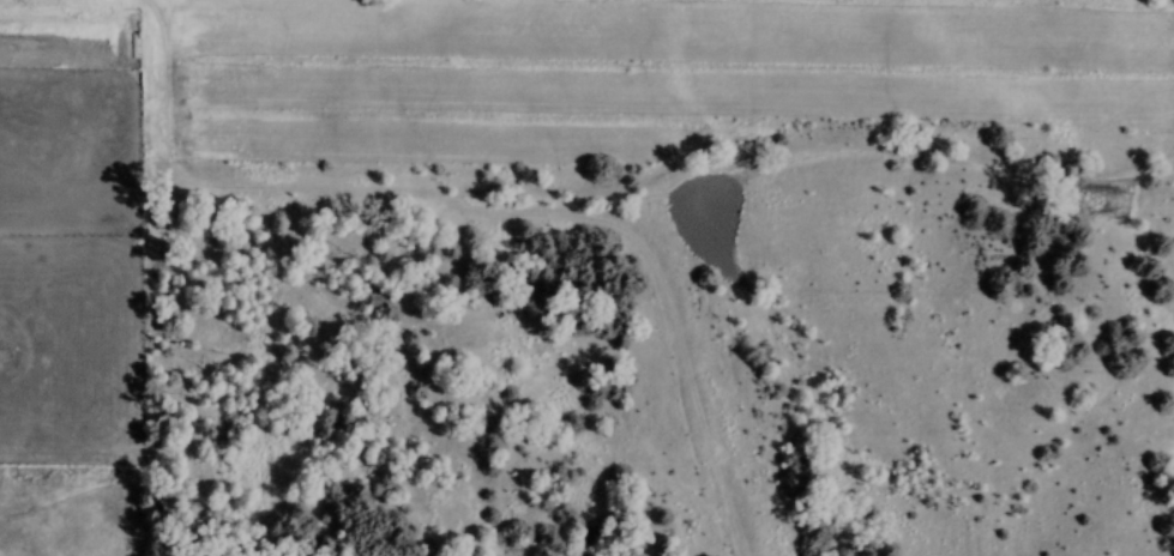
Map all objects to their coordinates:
building: (369, 298)

